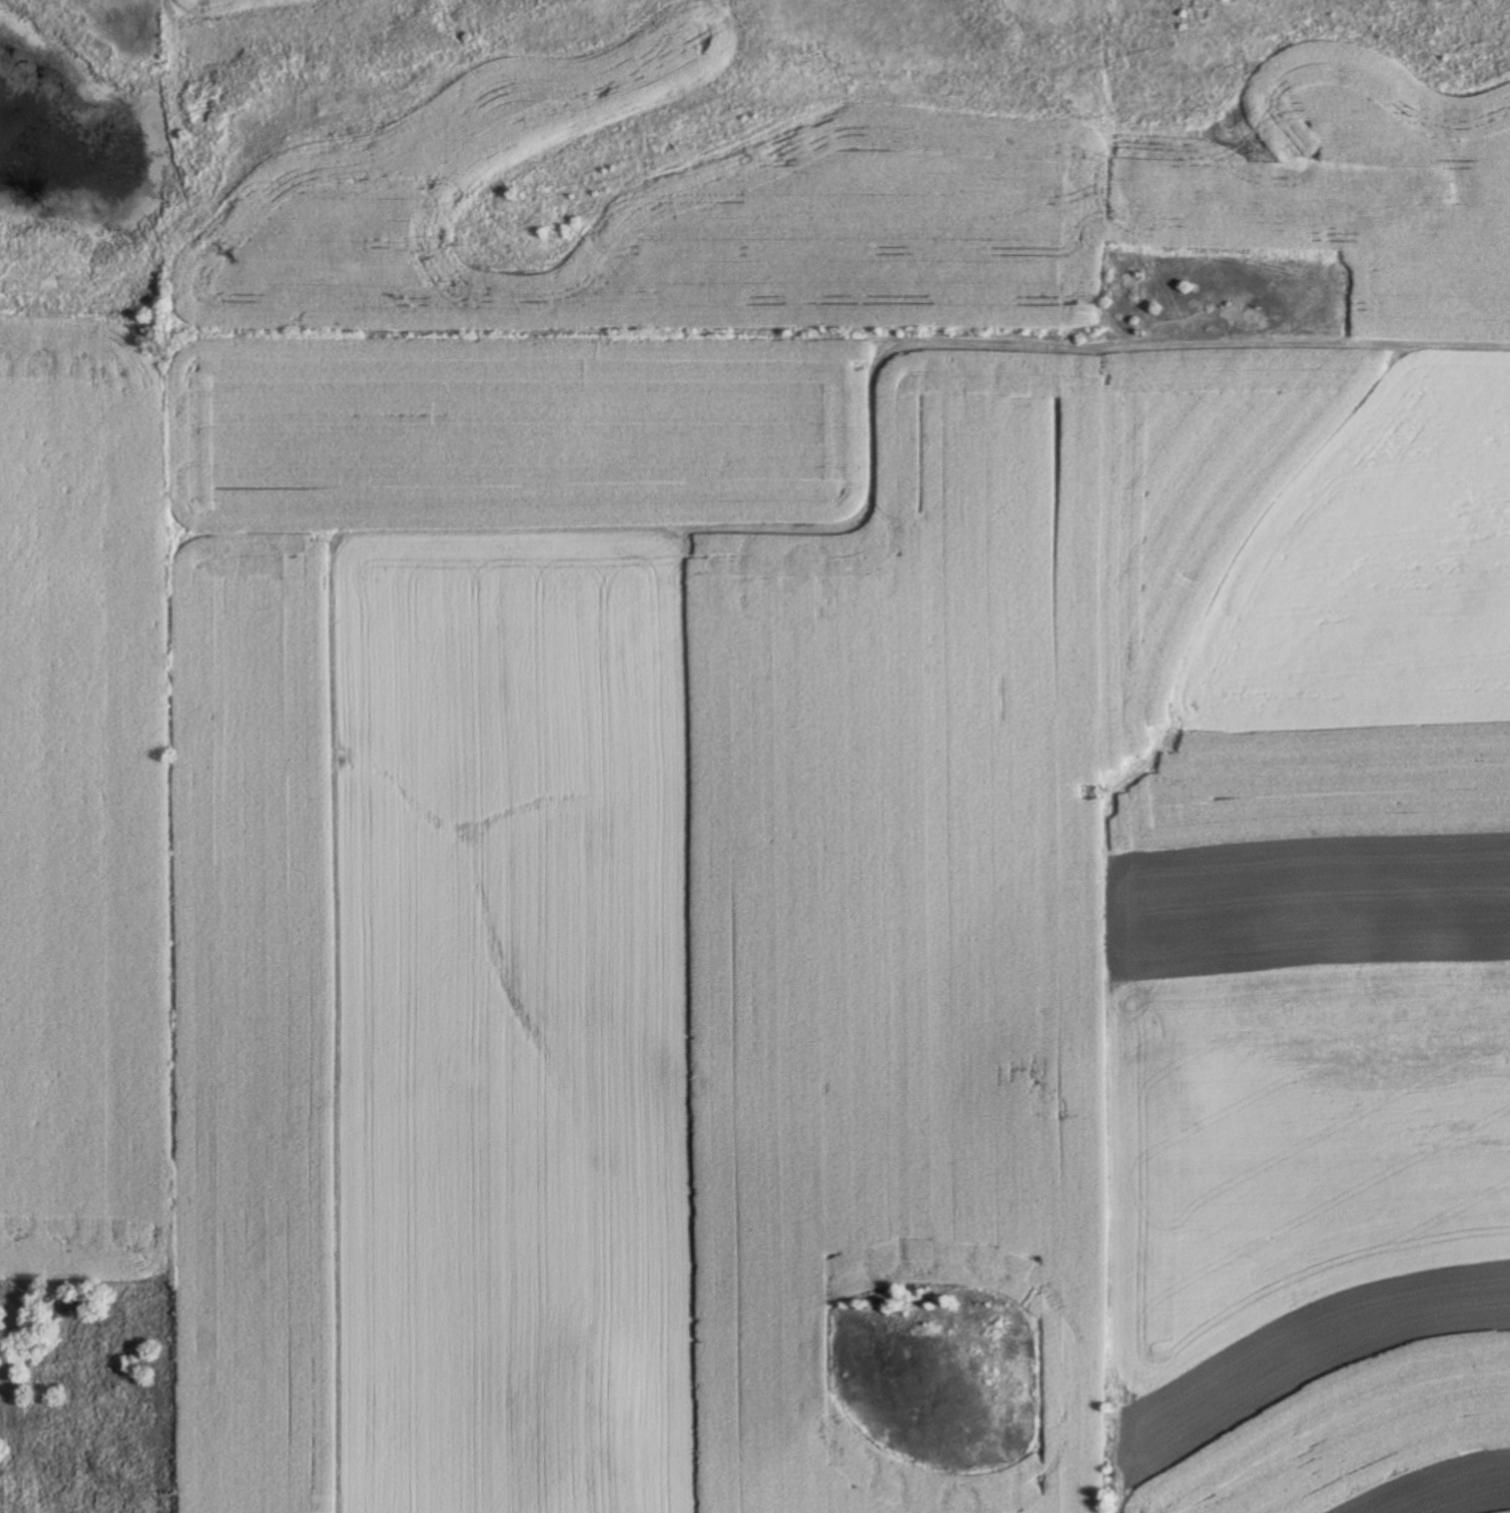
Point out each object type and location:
crop: (238, 10)
crop: (786, 807)

